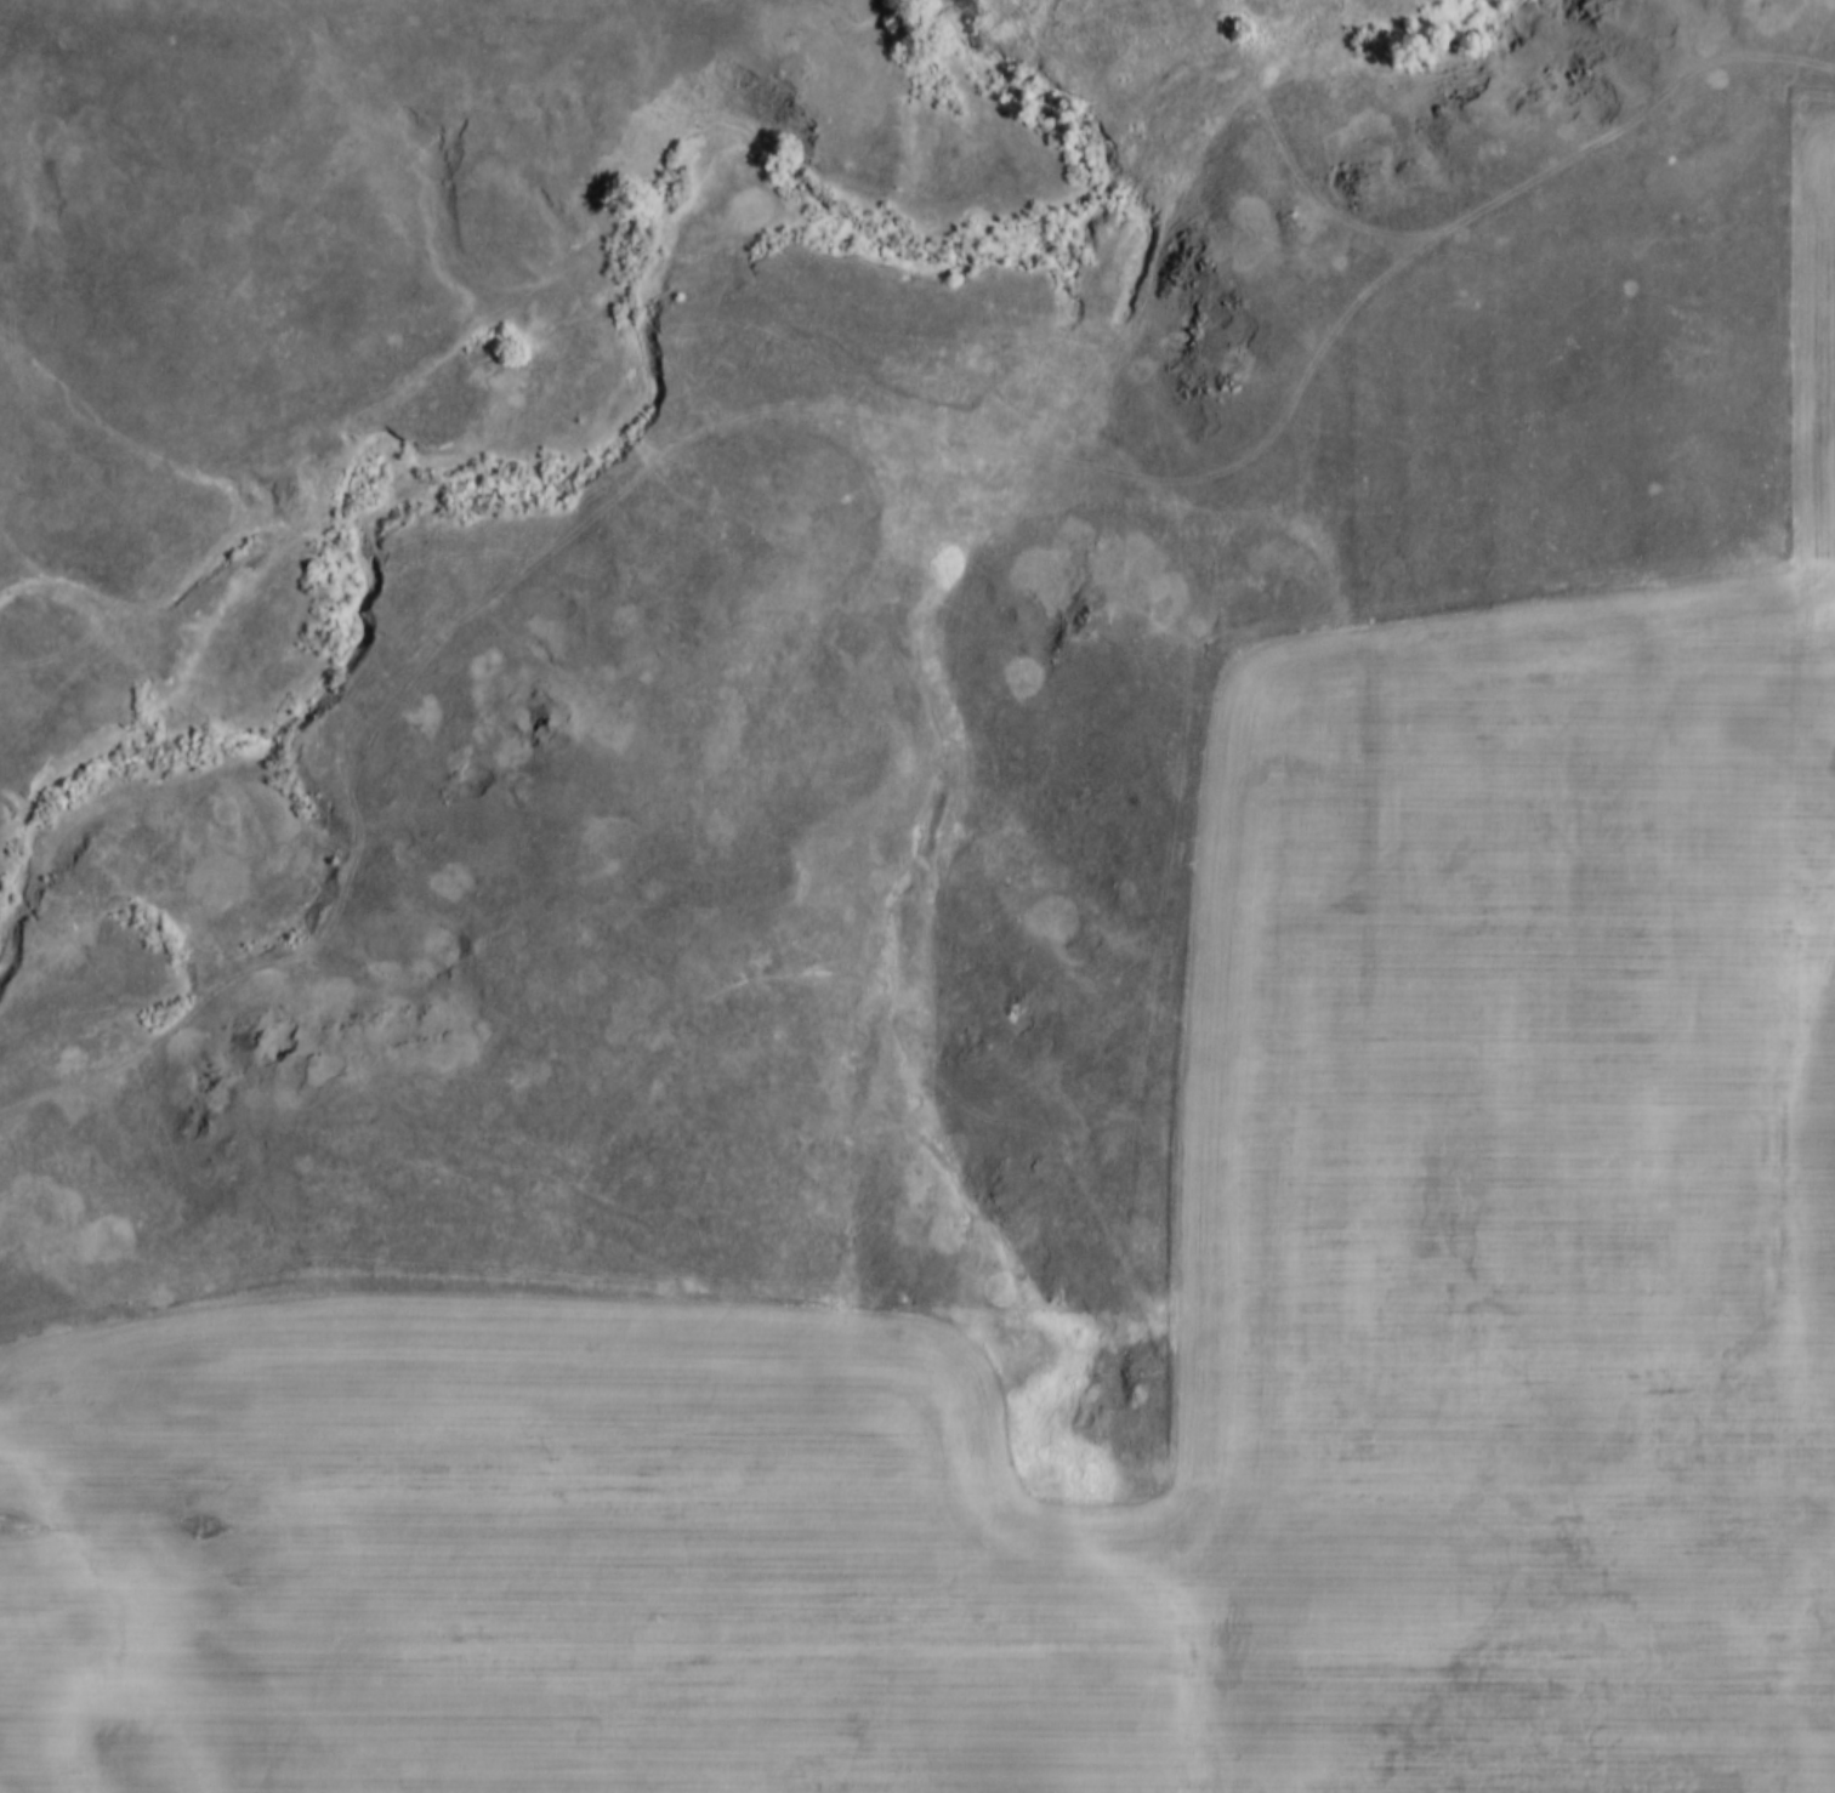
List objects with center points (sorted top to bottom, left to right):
road: (1544, 188)

